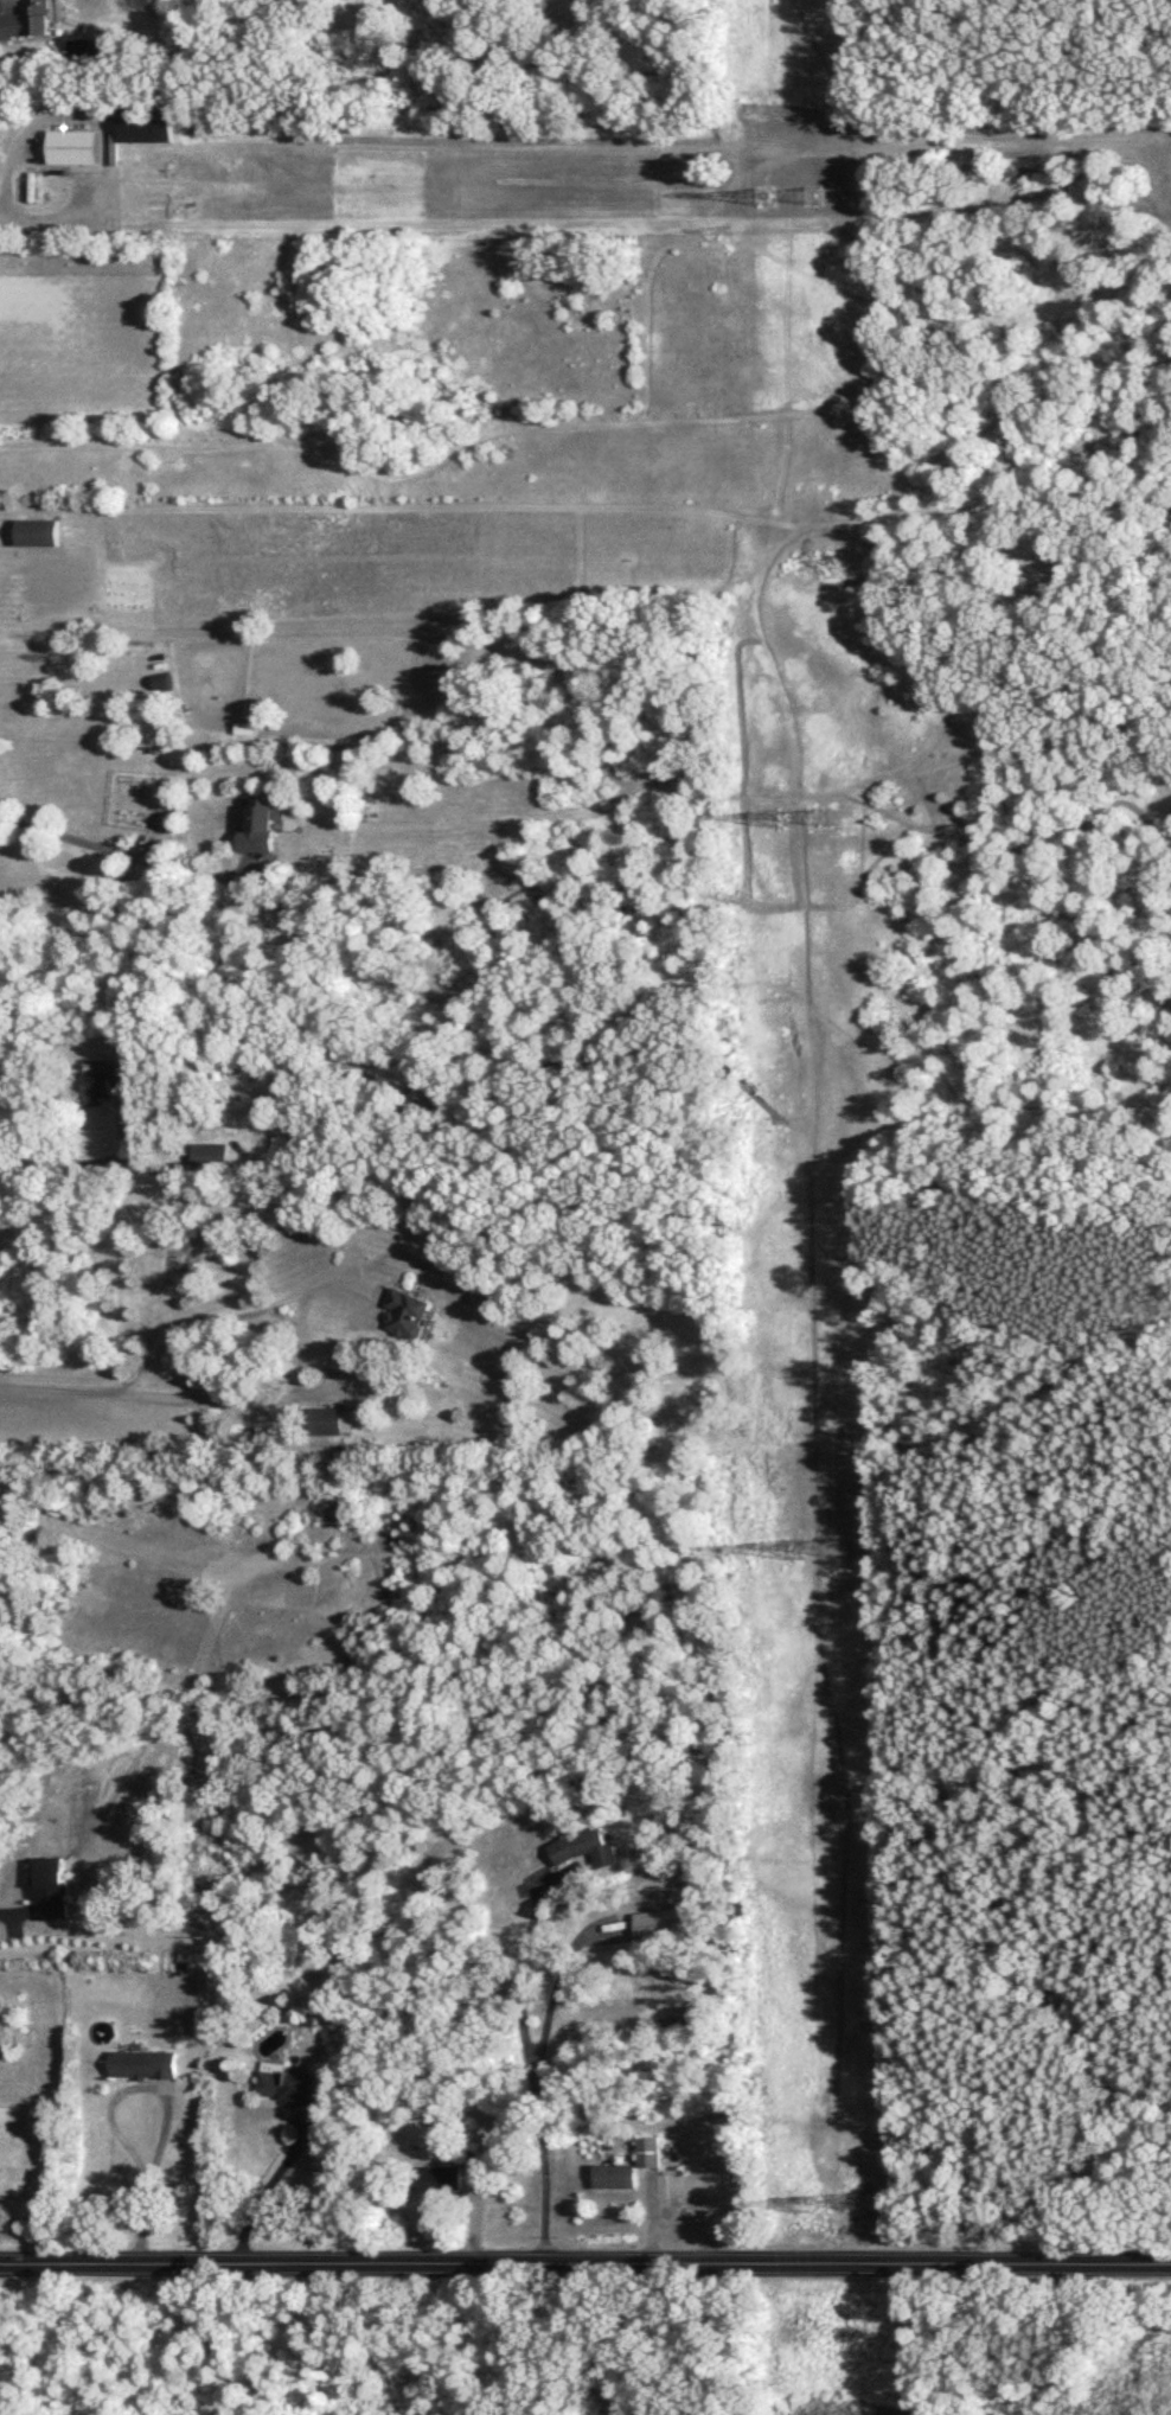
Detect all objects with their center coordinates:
building: (27, 20)
road: (100, 121)
building: (147, 124)
building: (73, 146)
power tower: (815, 198)
power tower: (764, 199)
road: (1, 221)
building: (39, 530)
power tower: (782, 818)
power tower: (831, 818)
building: (262, 822)
road: (103, 848)
building: (101, 1085)
building: (211, 1155)
road: (90, 1161)
road: (326, 1280)
road: (282, 1301)
building: (409, 1312)
road: (299, 1341)
road: (56, 1387)
building: (332, 1420)
power tower: (795, 1550)
power tower: (846, 1550)
building: (591, 1845)
building: (661, 1922)
road: (552, 1998)
building: (143, 2063)
road: (529, 2071)
building: (650, 2151)
building: (615, 2174)
building: (439, 2176)
road: (262, 2191)
road: (140, 2197)
power tower: (862, 2203)
power tower: (811, 2205)
road: (584, 2257)

